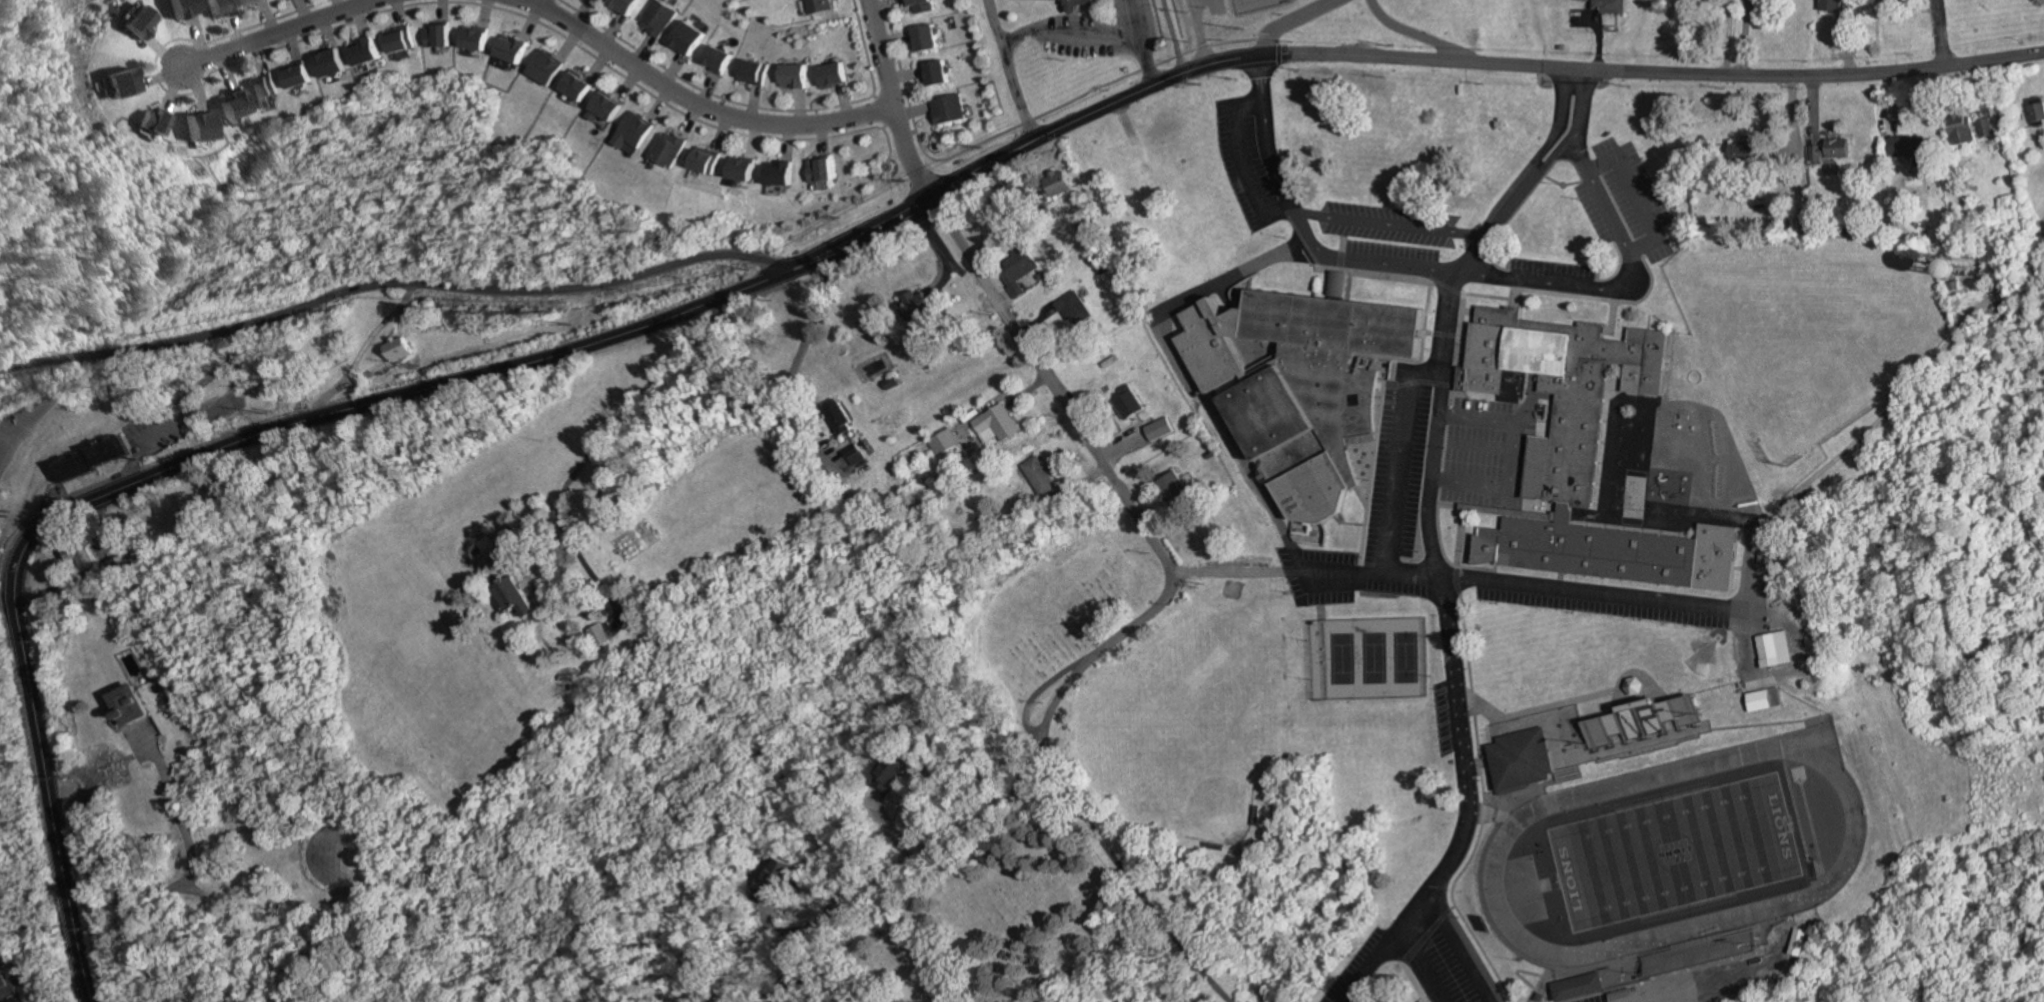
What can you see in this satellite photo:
building: (248, 2)
road: (538, 3)
building: (1082, 4)
road: (415, 5)
building: (622, 5)
power substation: (1260, 5)
building: (1831, 5)
building: (819, 6)
building: (920, 6)
building: (1610, 6)
building: (215, 7)
building: (176, 9)
building: (656, 18)
road: (1296, 21)
road: (532, 22)
building: (132, 24)
road: (1069, 28)
road: (277, 33)
road: (1940, 33)
road: (1175, 36)
road: (1422, 36)
building: (436, 37)
building: (474, 38)
building: (684, 38)
building: (924, 39)
building: (398, 40)
road: (1270, 40)
road: (1141, 43)
road: (867, 47)
building: (510, 49)
building: (363, 52)
road: (1281, 55)
building: (715, 59)
road: (1472, 63)
building: (328, 64)
building: (544, 68)
building: (752, 72)
road: (1005, 72)
building: (934, 74)
building: (830, 75)
building: (295, 76)
building: (792, 76)
road: (907, 77)
road: (160, 78)
building: (115, 84)
building: (574, 86)
building: (262, 90)
road: (707, 92)
road: (877, 97)
road: (894, 101)
road: (698, 102)
building: (230, 105)
building: (602, 108)
building: (947, 109)
building: (2037, 110)
road: (882, 112)
road: (917, 114)
building: (149, 122)
road: (1560, 123)
building: (1985, 127)
building: (194, 128)
road: (885, 128)
road: (1016, 128)
road: (1577, 129)
building: (1961, 130)
building: (633, 131)
road: (914, 133)
road: (907, 134)
building: (1907, 146)
building: (667, 150)
building: (1831, 150)
building: (1744, 152)
road: (892, 157)
building: (705, 161)
road: (1240, 162)
building: (741, 170)
building: (820, 170)
building: (779, 174)
building: (1056, 184)
flagpole: (1565, 187)
road: (1637, 195)
road: (908, 213)
road: (1391, 224)
water tower: (1965, 257)
building: (1962, 261)
building: (1017, 270)
road: (1444, 272)
road: (389, 284)
road: (1516, 295)
building: (914, 304)
building: (1075, 308)
park: (1804, 308)
road: (1613, 315)
park: (1810, 327)
road: (804, 329)
road: (1676, 330)
building: (395, 349)
road: (364, 352)
road: (1190, 369)
road: (213, 379)
building: (891, 382)
building: (1301, 385)
building: (1562, 394)
road: (643, 395)
building: (1128, 402)
road: (49, 404)
road: (207, 415)
building: (838, 416)
building: (997, 421)
building: (1158, 429)
building: (945, 441)
park: (1627, 445)
road: (228, 446)
road: (142, 448)
road: (1465, 450)
building: (855, 454)
road: (1505, 455)
road: (1400, 457)
building: (90, 458)
building: (1039, 475)
building: (1174, 487)
park: (1631, 498)
road: (1492, 510)
road: (1460, 536)
building: (1617, 552)
building: (79, 557)
road: (1434, 563)
road: (1456, 579)
road: (1495, 580)
road: (1444, 594)
building: (511, 595)
road: (7, 607)
road: (1149, 615)
building: (598, 634)
building: (1779, 651)
park: (1222, 652)
park: (1369, 660)
road: (1798, 670)
building: (1767, 701)
road: (1551, 709)
building: (1644, 724)
track: (1797, 742)
building: (1522, 760)
park: (1187, 766)
building: (891, 772)
park: (1024, 783)
road: (960, 838)
track: (1500, 845)
track: (1675, 851)
building: (339, 852)
storage tank: (339, 852)
park: (1676, 852)
building: (774, 875)
road: (164, 888)
road: (1426, 936)
building: (1799, 941)
road: (138, 945)
road: (1462, 947)
building: (1701, 954)
road: (831, 958)
road: (1419, 967)
road: (19, 971)
road: (799, 979)
building: (3, 984)
road: (1701, 986)
building: (1579, 989)
building: (1375, 996)

